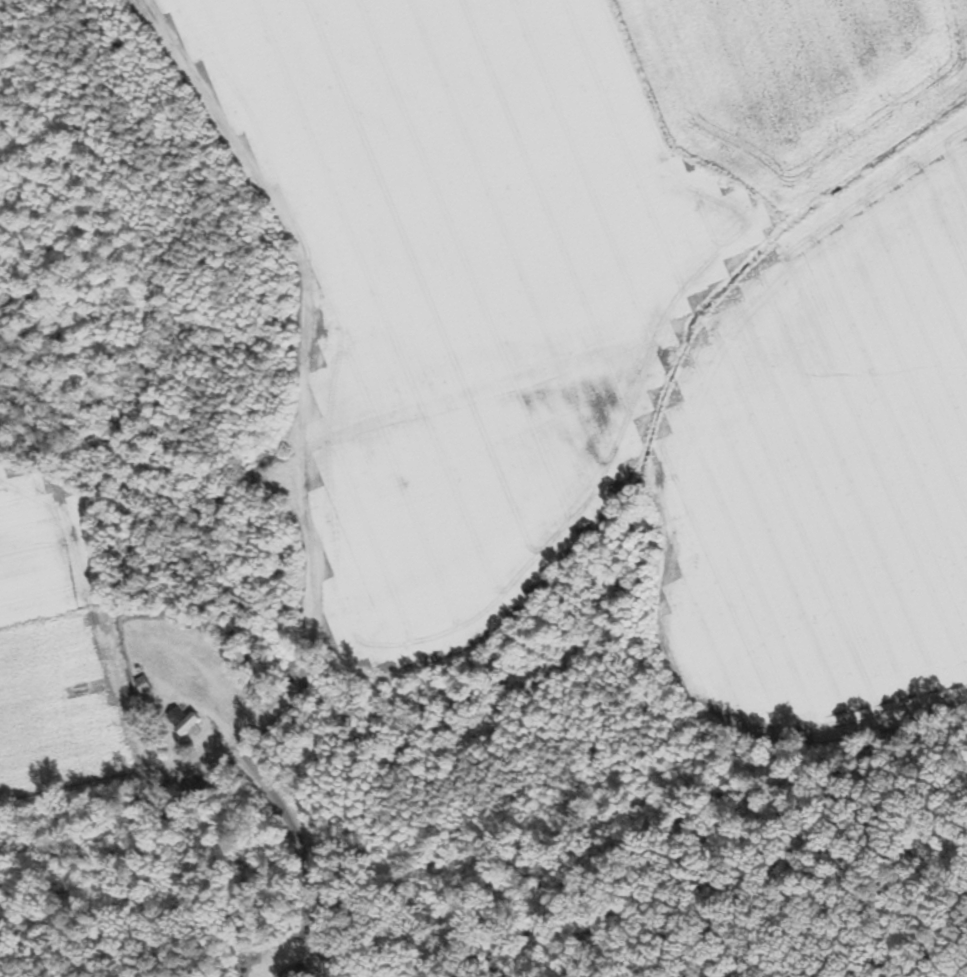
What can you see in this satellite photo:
building: (154, 622)
road: (316, 639)
road: (297, 686)
building: (187, 721)
road: (261, 772)
road: (317, 916)
building: (301, 972)

